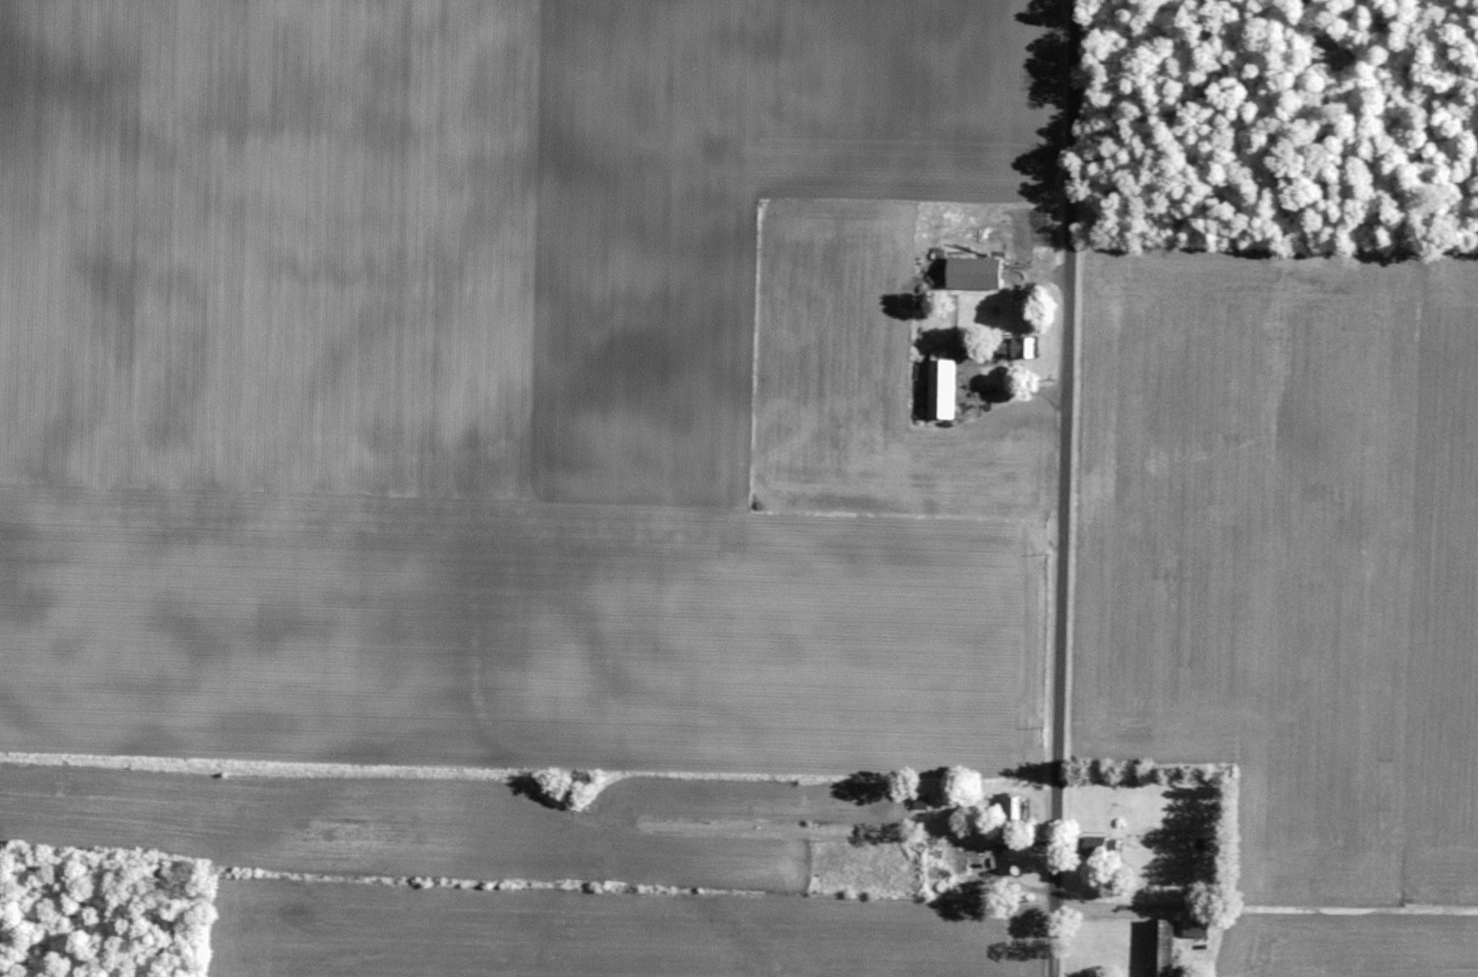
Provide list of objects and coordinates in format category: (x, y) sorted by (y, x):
road: (1061, 488)
road: (1109, 905)

